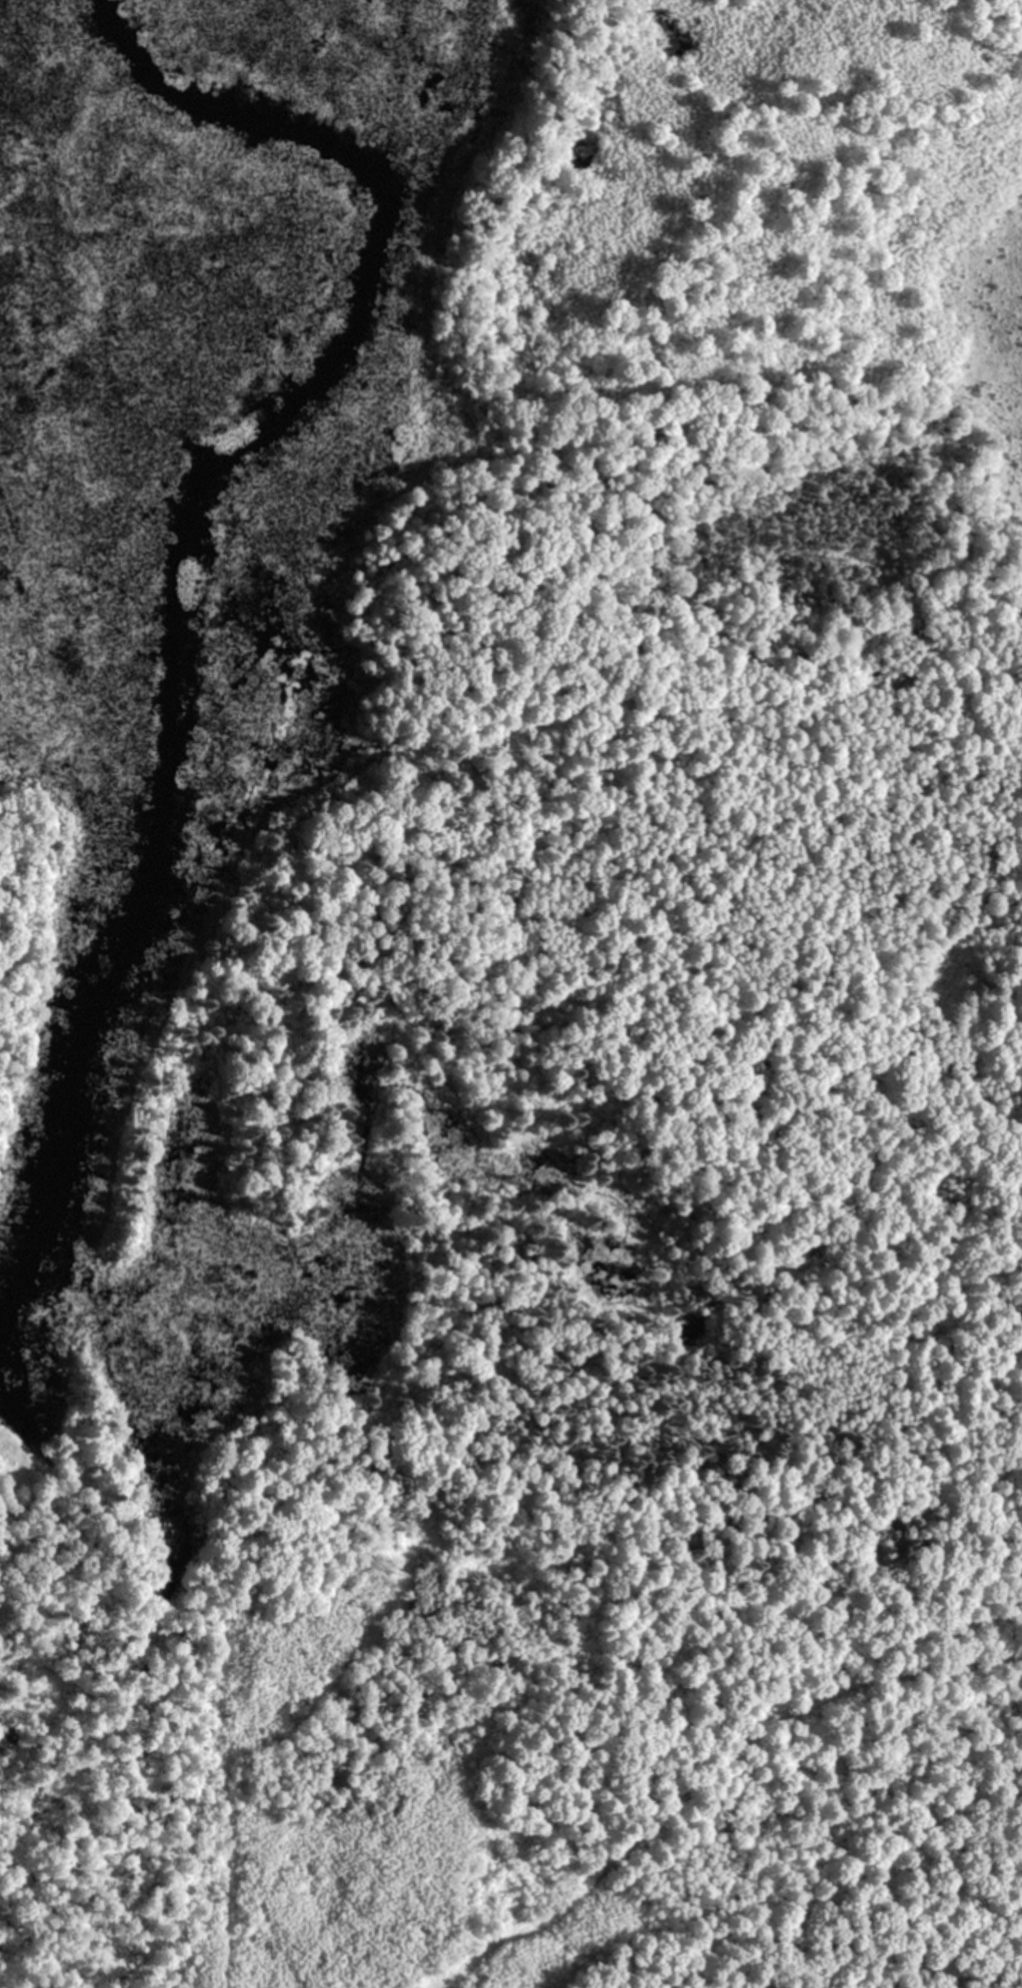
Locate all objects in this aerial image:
river: (202, 615)
river: (3, 1437)
dam: (19, 1445)

